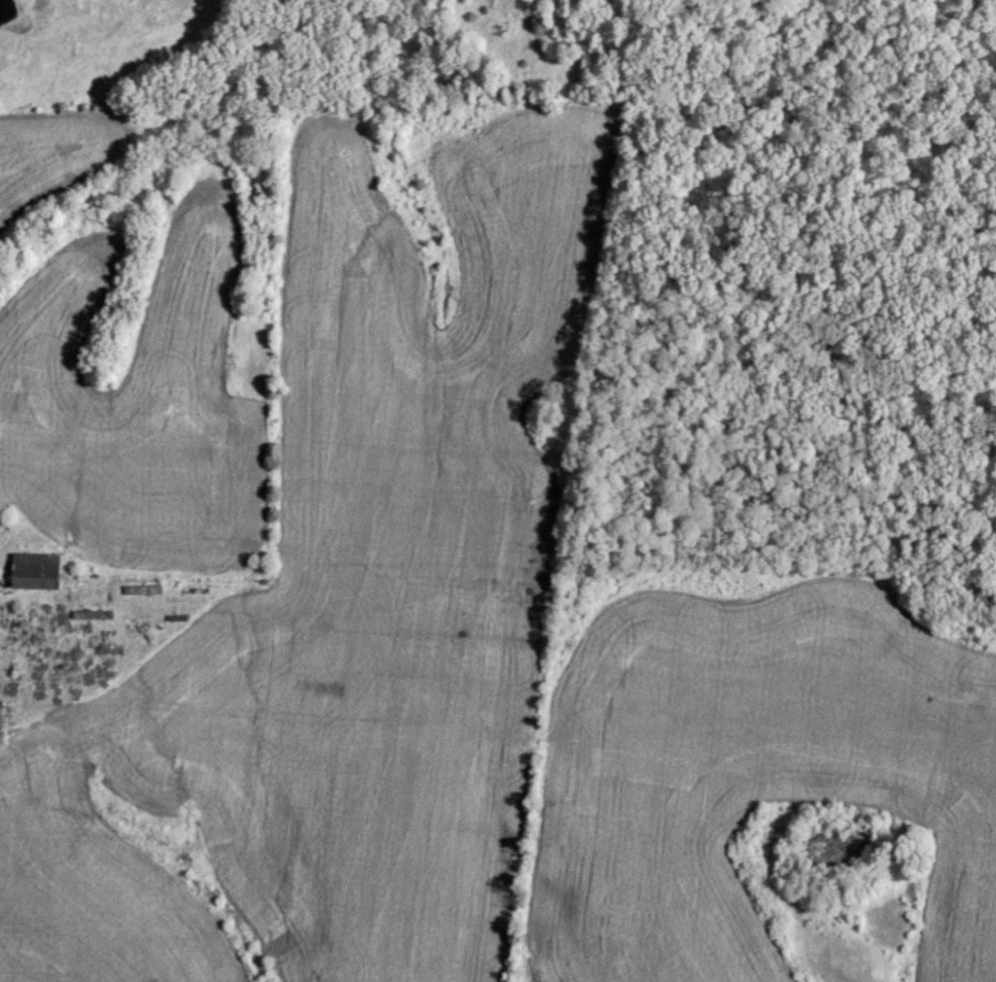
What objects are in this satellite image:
building: (36, 570)

